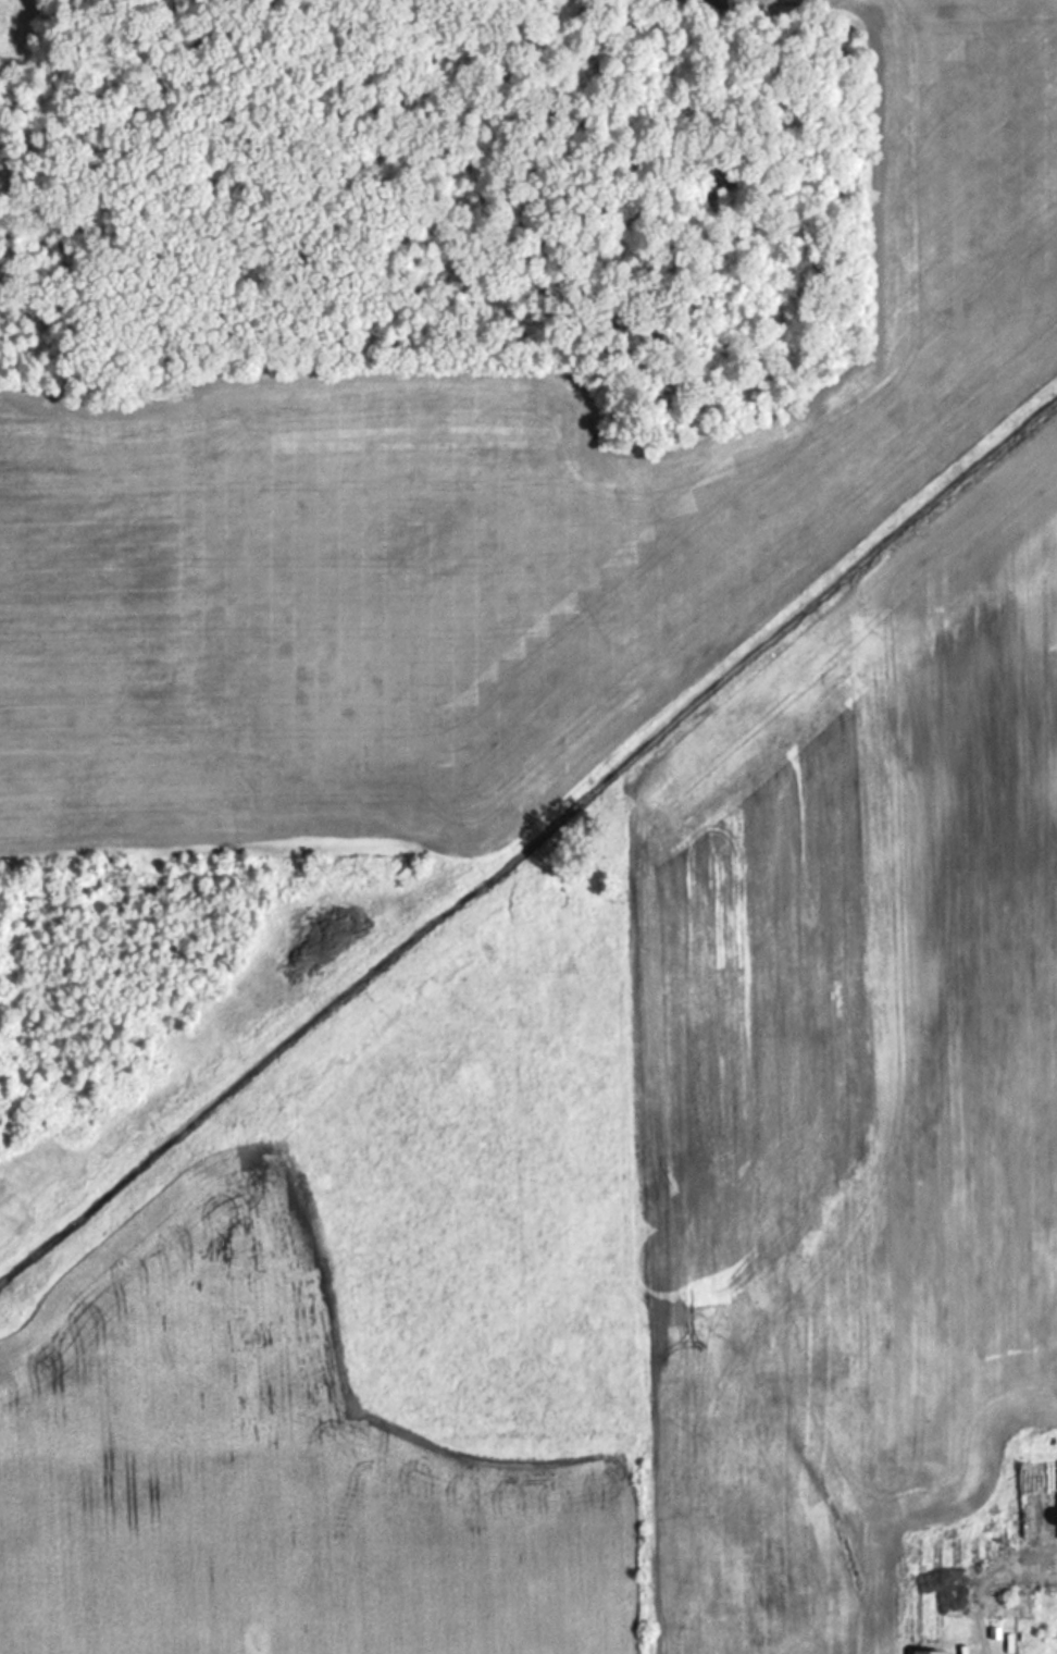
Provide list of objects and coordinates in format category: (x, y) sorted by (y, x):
building: (933, 1653)

